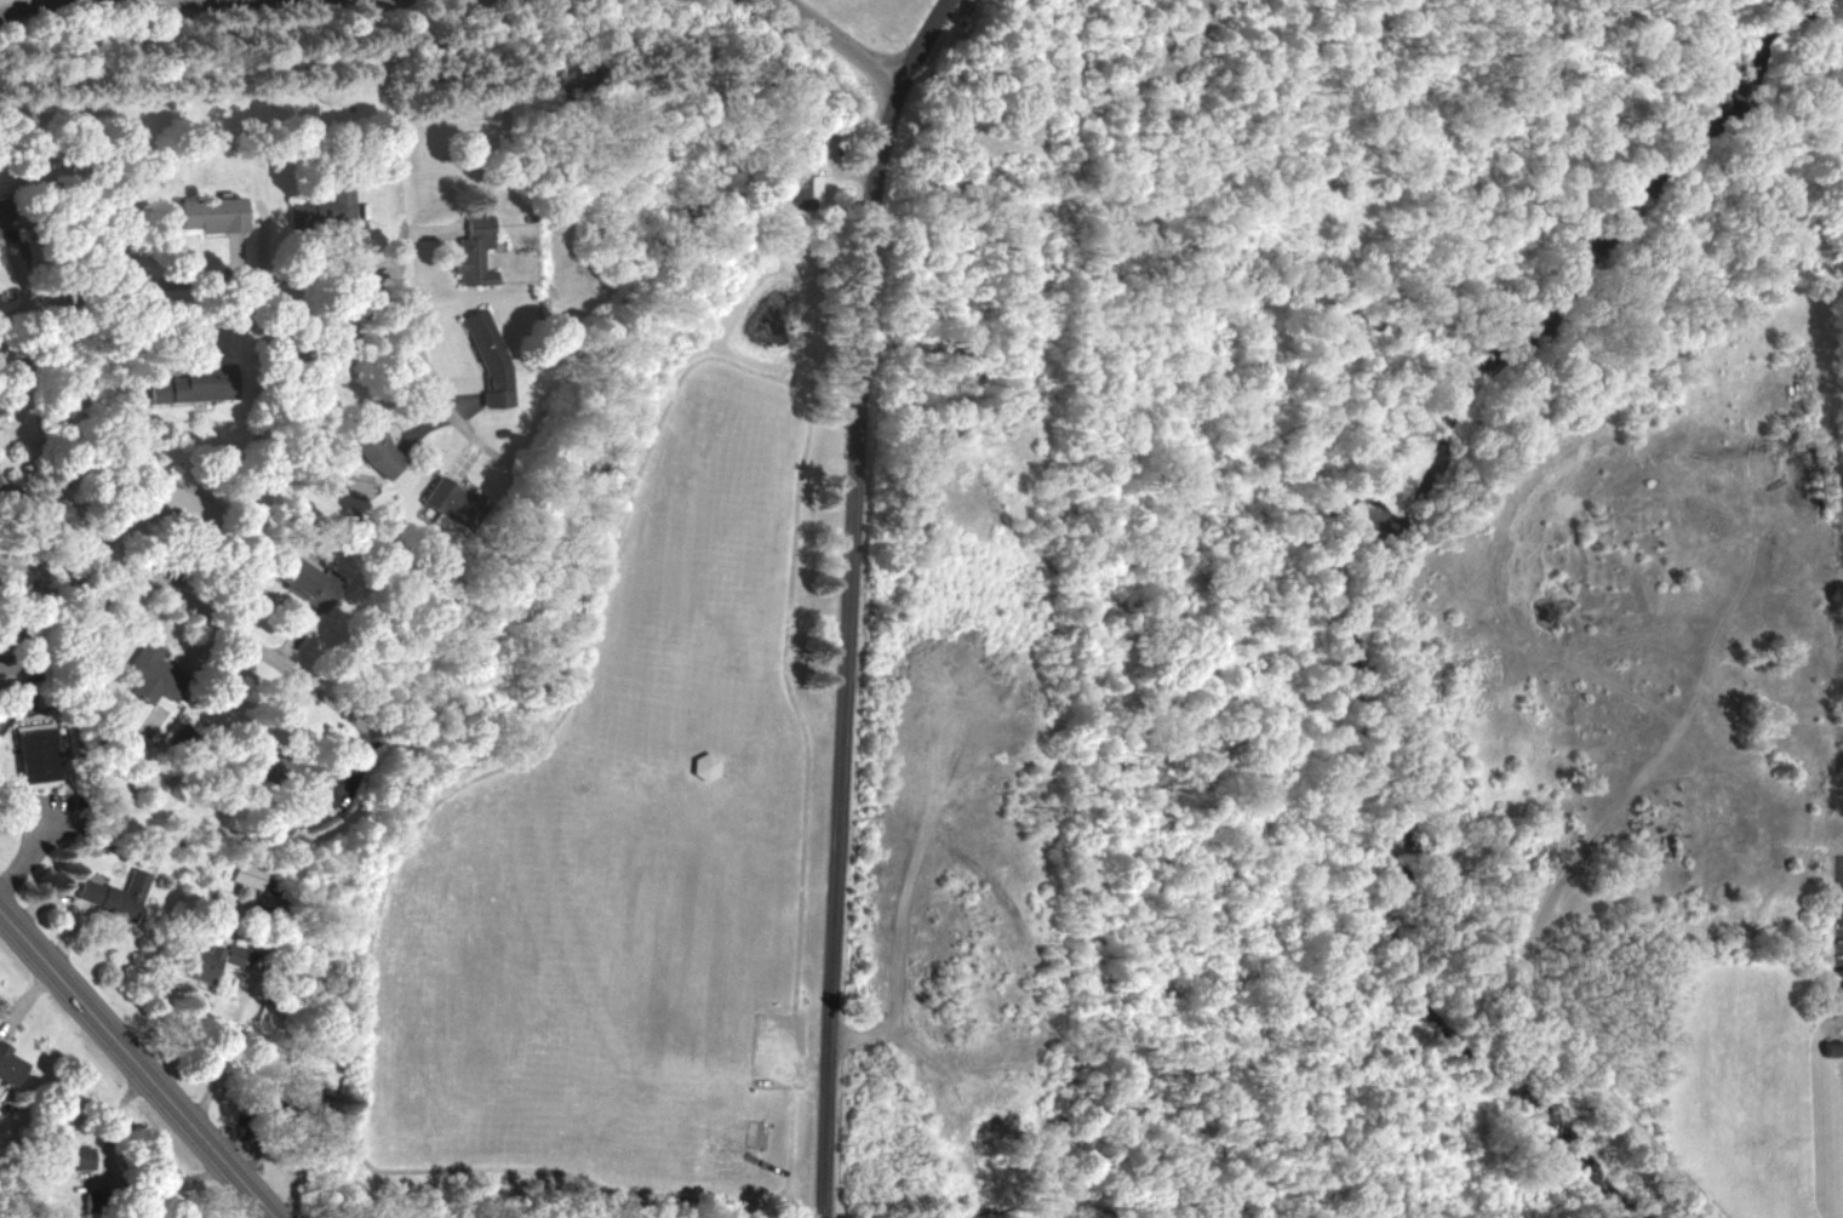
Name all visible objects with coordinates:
road: (18, 6)
road: (842, 36)
park: (986, 135)
building: (797, 185)
building: (319, 207)
building: (204, 213)
building: (469, 250)
road: (200, 285)
road: (416, 344)
building: (483, 358)
building: (183, 384)
building: (366, 442)
building: (440, 498)
building: (167, 502)
building: (299, 582)
road: (852, 599)
road: (213, 610)
building: (143, 670)
building: (4, 673)
road: (10, 703)
building: (33, 756)
building: (293, 777)
park: (635, 818)
building: (240, 873)
building: (110, 893)
road: (70, 904)
building: (196, 962)
road: (136, 1064)
road: (216, 1065)
building: (8, 1067)
building: (294, 1096)
building: (73, 1157)
road: (110, 1177)

